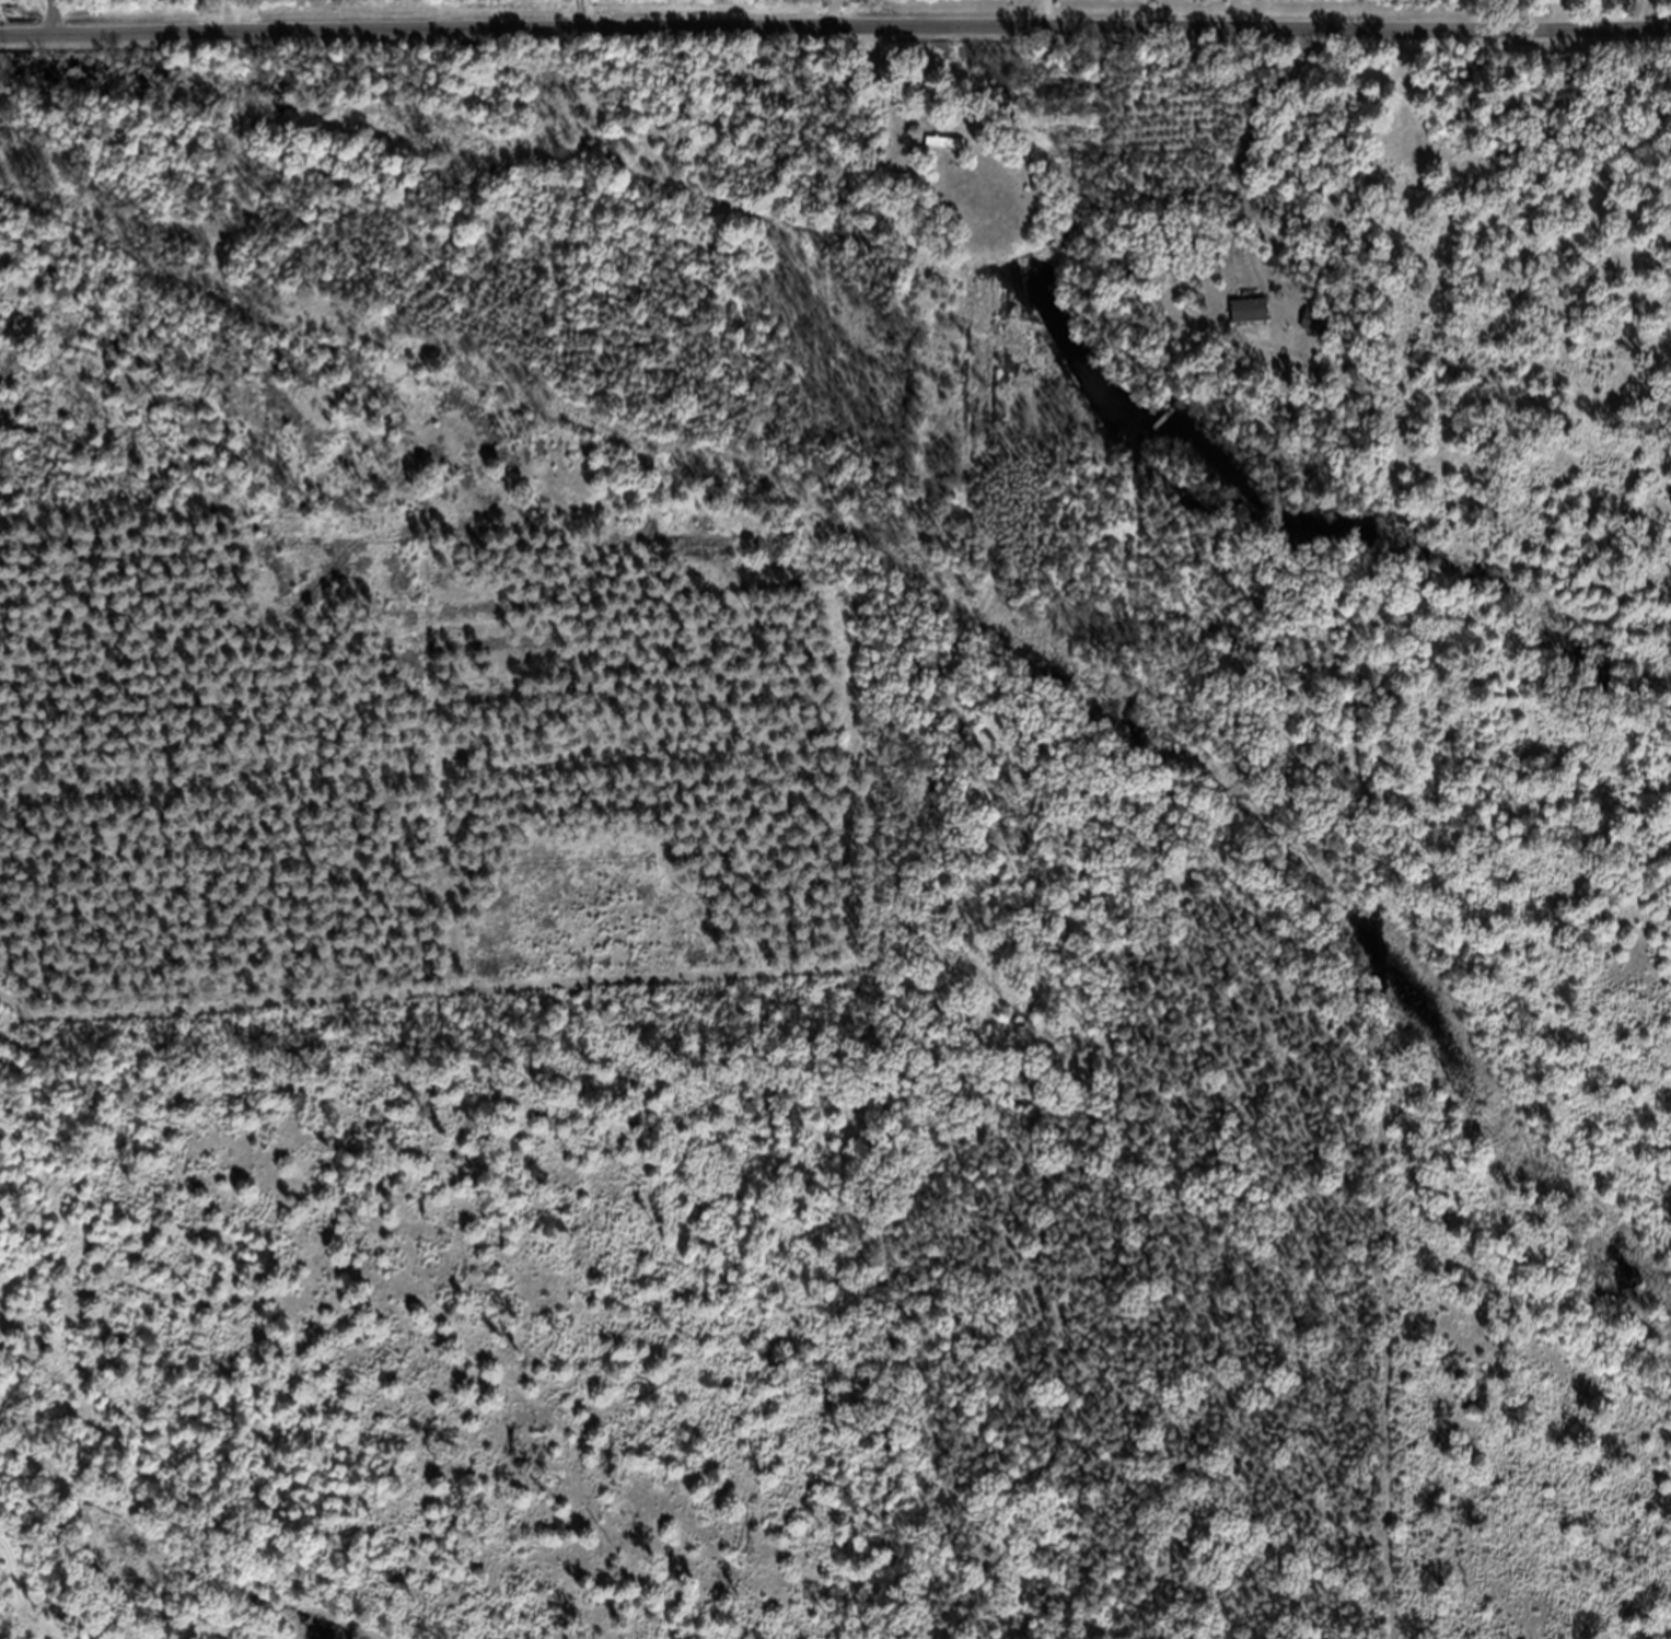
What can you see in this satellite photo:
road: (836, 25)
building: (947, 155)
building: (1251, 322)
building: (1316, 332)

